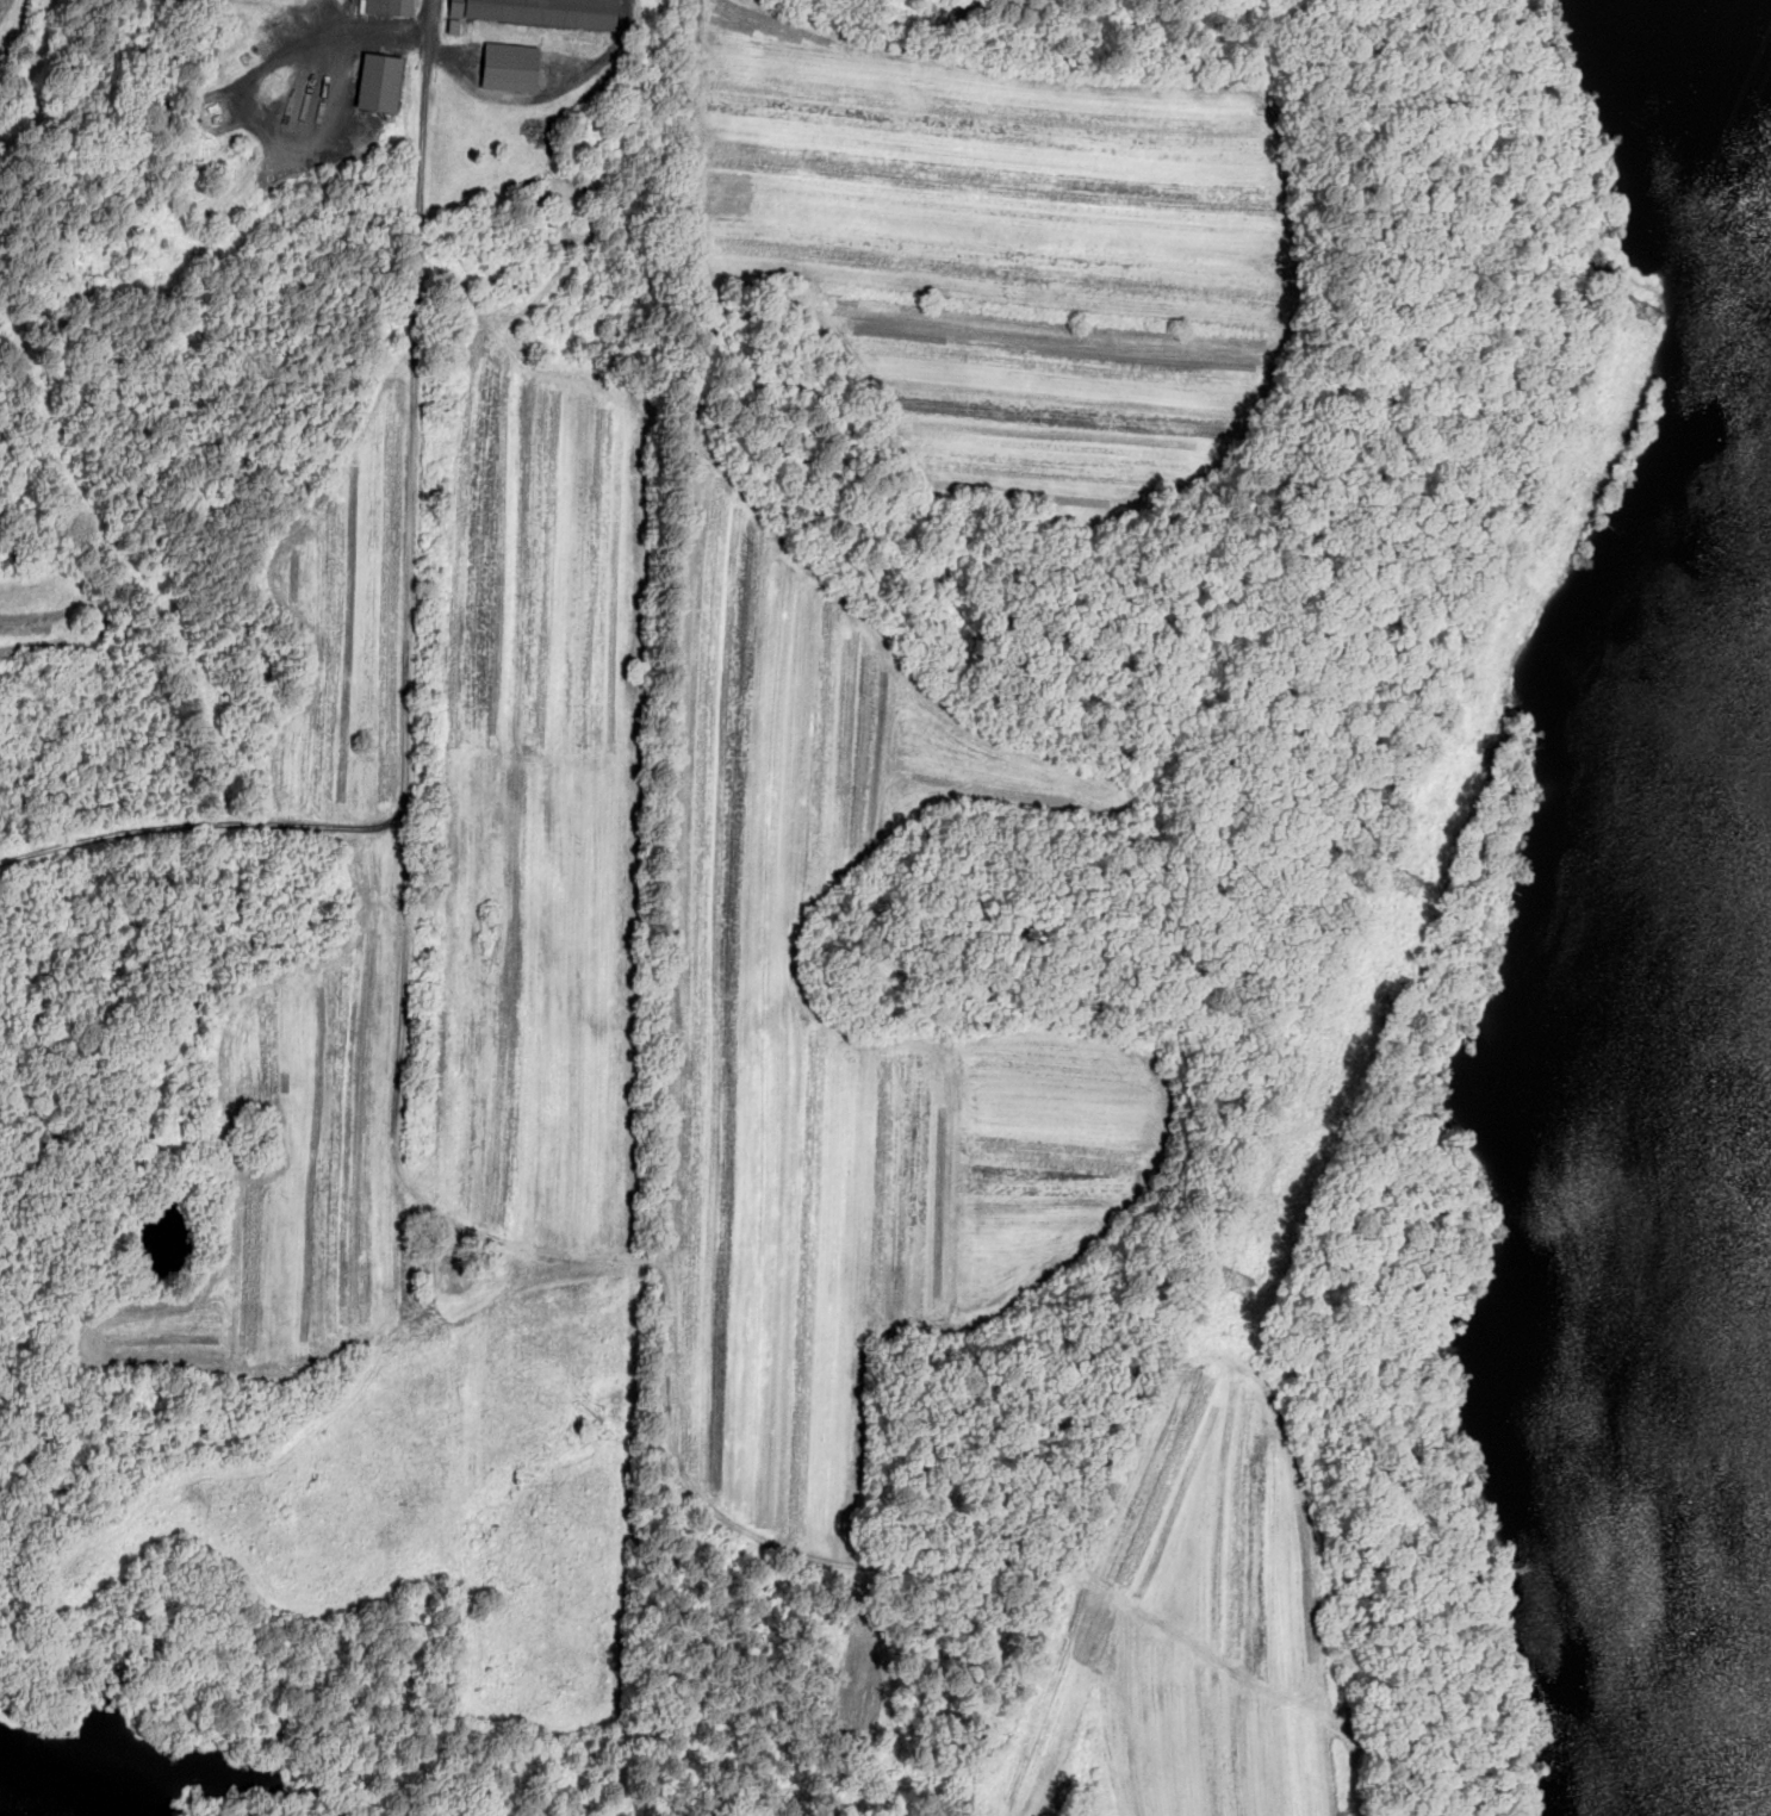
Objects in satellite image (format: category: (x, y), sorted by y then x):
building: (378, 5)
building: (402, 6)
building: (542, 11)
building: (455, 25)
road: (433, 43)
building: (510, 66)
building: (379, 80)
power tower: (1647, 317)
road: (203, 825)
power tower: (1399, 885)
building: (1408, 888)
road: (454, 1226)
power tower: (1236, 1286)
road: (1402, 1766)
river: (61, 1799)

